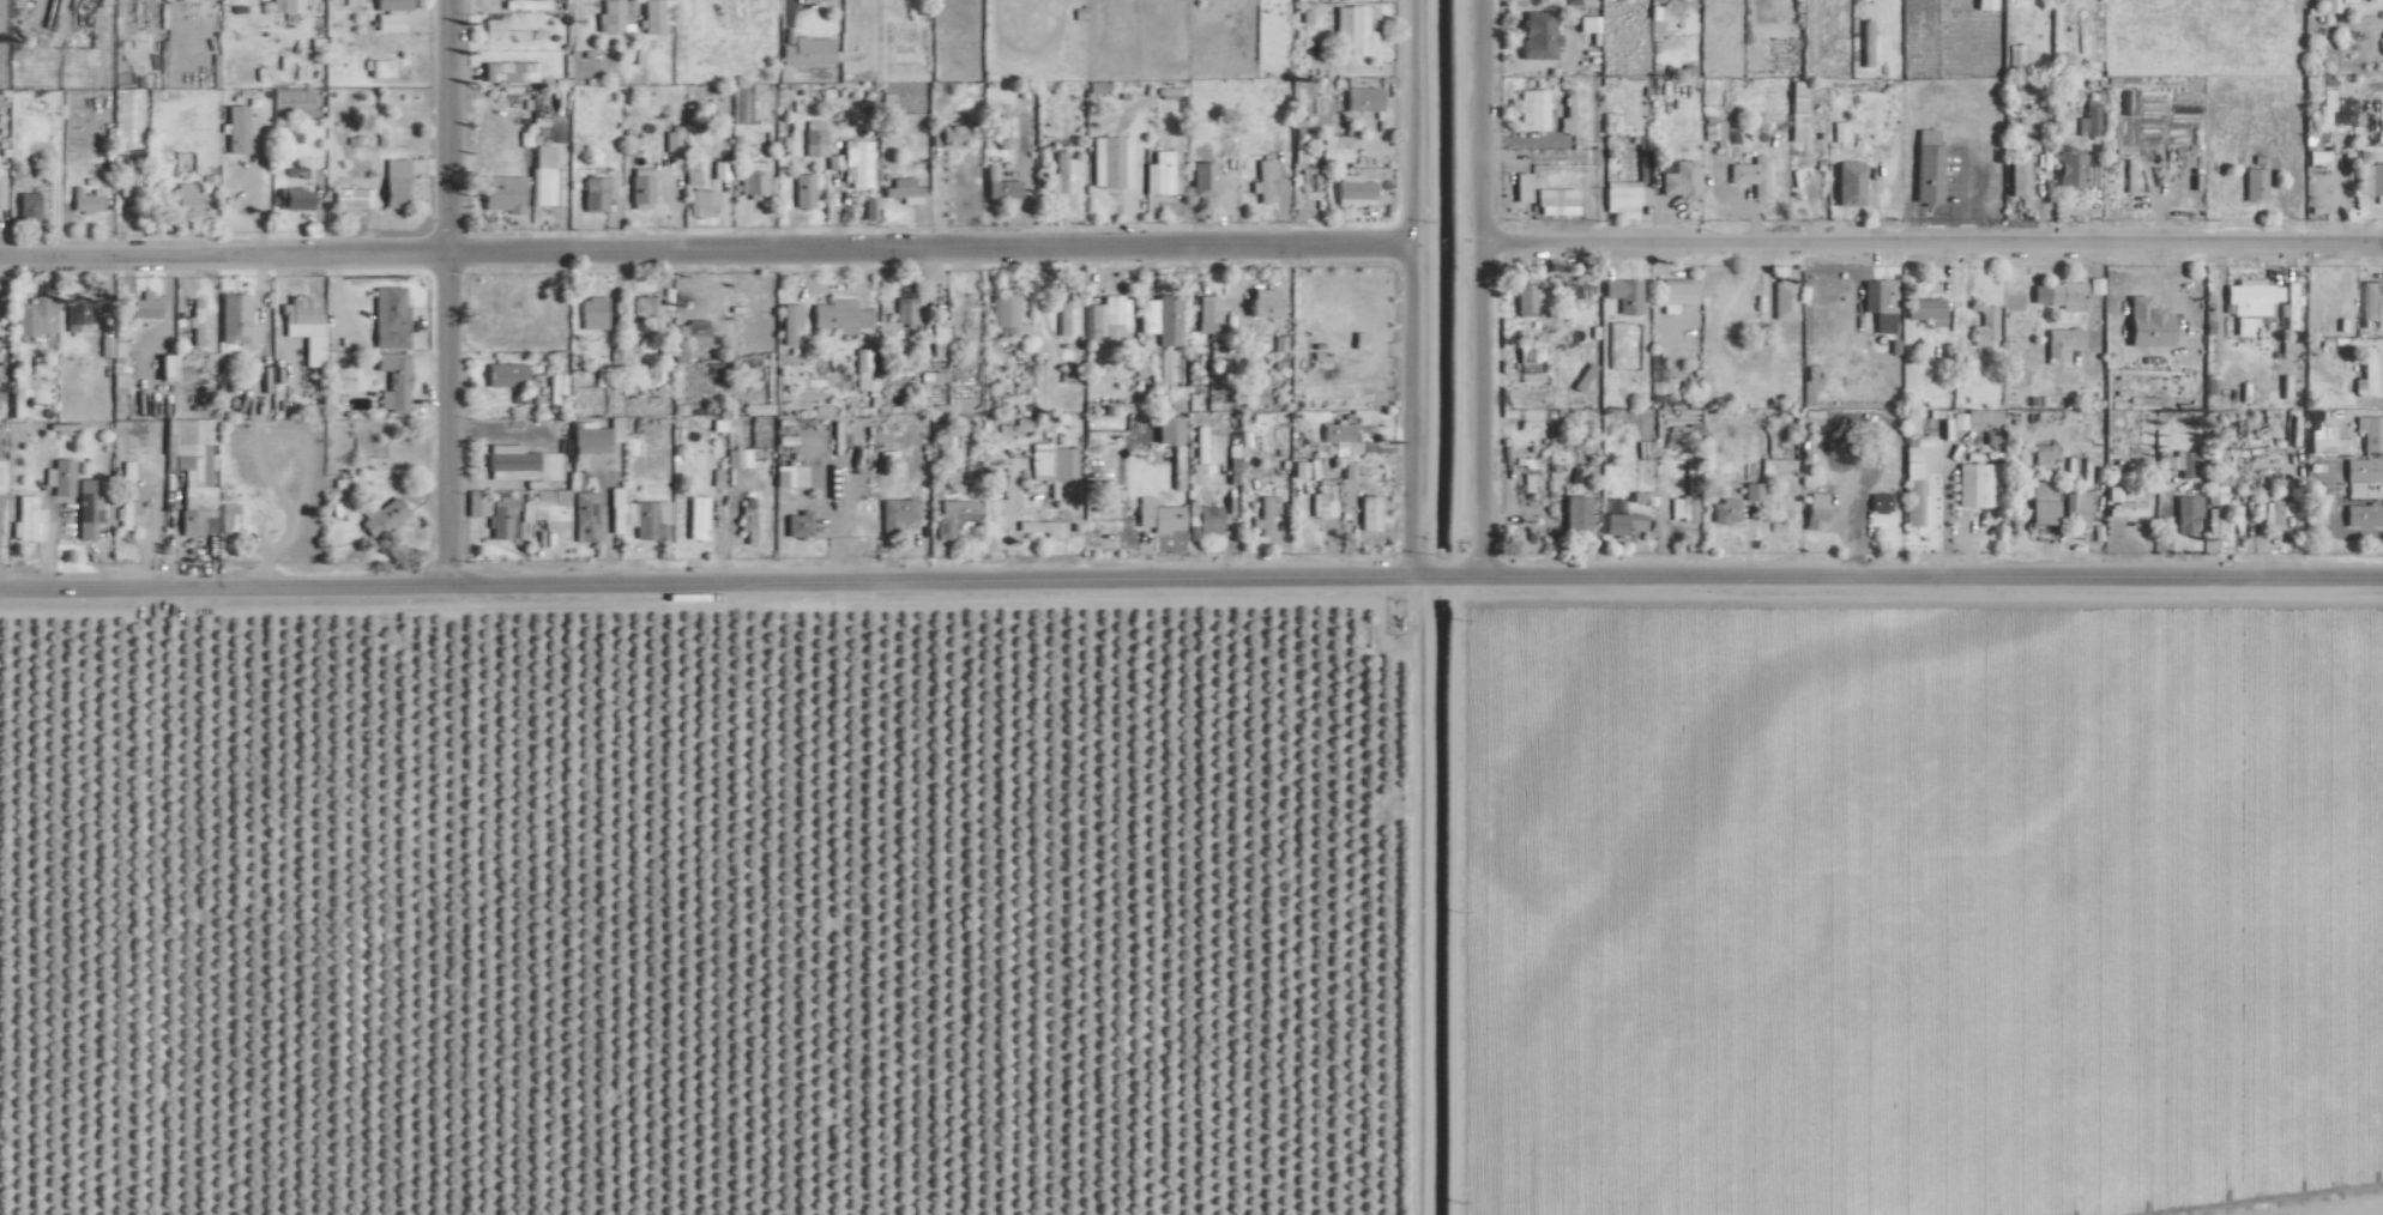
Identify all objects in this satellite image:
building: (1585, 2)
building: (529, 4)
building: (1985, 4)
building: (286, 5)
road: (788, 11)
building: (391, 14)
building: (615, 16)
building: (656, 16)
building: (1588, 23)
building: (2082, 23)
building: (1358, 28)
building: (502, 30)
building: (1538, 35)
building: (1866, 43)
building: (808, 50)
building: (2017, 56)
building: (101, 67)
building: (379, 68)
building: (513, 71)
building: (1364, 98)
building: (0, 102)
building: (1311, 103)
building: (1533, 109)
building: (1798, 110)
building: (1568, 115)
building: (2092, 120)
road: (450, 126)
building: (1005, 126)
building: (239, 128)
building: (1231, 134)
building: (953, 135)
building: (2335, 135)
building: (290, 137)
building: (674, 139)
building: (816, 140)
building: (1301, 141)
building: (1335, 149)
building: (543, 155)
building: (2041, 158)
building: (2318, 159)
building: (1111, 161)
building: (856, 162)
building: (1929, 165)
building: (2070, 168)
building: (720, 169)
building: (296, 171)
building: (1163, 173)
building: (1063, 174)
building: (1751, 175)
building: (692, 176)
building: (127, 177)
building: (1206, 177)
building: (2019, 177)
building: (756, 179)
building: (1260, 179)
building: (2370, 179)
building: (396, 180)
building: (1679, 180)
building: (1851, 183)
building: (2255, 183)
building: (1001, 185)
building: (544, 186)
building: (642, 187)
road: (253, 188)
building: (804, 189)
building: (904, 191)
building: (1355, 191)
building: (1, 192)
building: (503, 193)
building: (596, 193)
building: (186, 194)
building: (1625, 195)
building: (294, 198)
building: (86, 199)
building: (352, 199)
building: (701, 202)
building: (1559, 205)
building: (29, 206)
road: (1931, 242)
road: (705, 249)
road: (1412, 288)
road: (1479, 288)
building: (1678, 294)
building: (1625, 295)
building: (2064, 295)
building: (1577, 296)
building: (1785, 297)
building: (1532, 298)
building: (1266, 302)
building: (2251, 302)
building: (2372, 304)
building: (146, 306)
building: (646, 307)
building: (2290, 307)
building: (1005, 308)
building: (301, 309)
building: (905, 309)
building: (1926, 310)
building: (593, 313)
building: (1063, 313)
building: (1209, 314)
building: (78, 315)
building: (841, 315)
building: (31, 316)
building: (391, 316)
building: (1160, 318)
building: (1109, 319)
building: (236, 320)
building: (195, 321)
building: (790, 321)
building: (2149, 324)
building: (1984, 327)
building: (698, 333)
building: (939, 337)
building: (2063, 340)
building: (1527, 352)
building: (2287, 357)
building: (168, 367)
building: (862, 368)
building: (507, 374)
building: (2370, 374)
building: (2325, 376)
building: (1661, 379)
building: (394, 380)
building: (2287, 389)
building: (556, 392)
building: (19, 395)
building: (1983, 416)
road: (445, 417)
building: (1910, 421)
building: (1170, 429)
building: (2370, 433)
building: (1339, 435)
building: (598, 436)
building: (2328, 441)
building: (1989, 448)
building: (2044, 453)
building: (740, 458)
building: (2186, 463)
building: (194, 469)
building: (1311, 469)
building: (1055, 470)
building: (1298, 470)
building: (1, 474)
building: (784, 474)
building: (2361, 474)
building: (62, 477)
building: (1978, 485)
building: (1752, 491)
building: (1323, 500)
building: (1684, 502)
building: (1880, 502)
building: (1913, 502)
building: (2044, 502)
building: (2215, 503)
building: (2122, 504)
building: (92, 506)
building: (2076, 509)
building: (1725, 510)
building: (1267, 512)
building: (897, 513)
building: (1369, 513)
building: (1816, 513)
building: (2274, 513)
building: (1577, 514)
building: (2188, 514)
building: (121, 515)
building: (381, 515)
building: (955, 515)
building: (1159, 515)
building: (2364, 515)
building: (229, 516)
building: (585, 516)
building: (698, 516)
building: (502, 518)
building: (642, 518)
building: (28, 519)
building: (1205, 519)
building: (1625, 522)
building: (800, 525)
building: (749, 527)
building: (1043, 527)
road: (1420, 575)
road: (1442, 575)
road: (1471, 575)
road: (1933, 575)
road: (706, 581)

